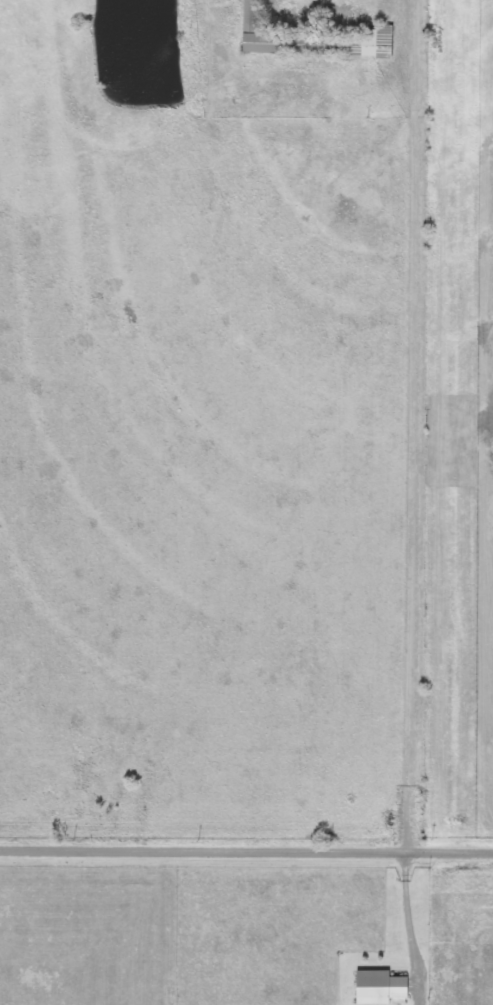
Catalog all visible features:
building: (314, 40)
road: (403, 429)
road: (246, 854)
road: (406, 917)
building: (380, 986)

